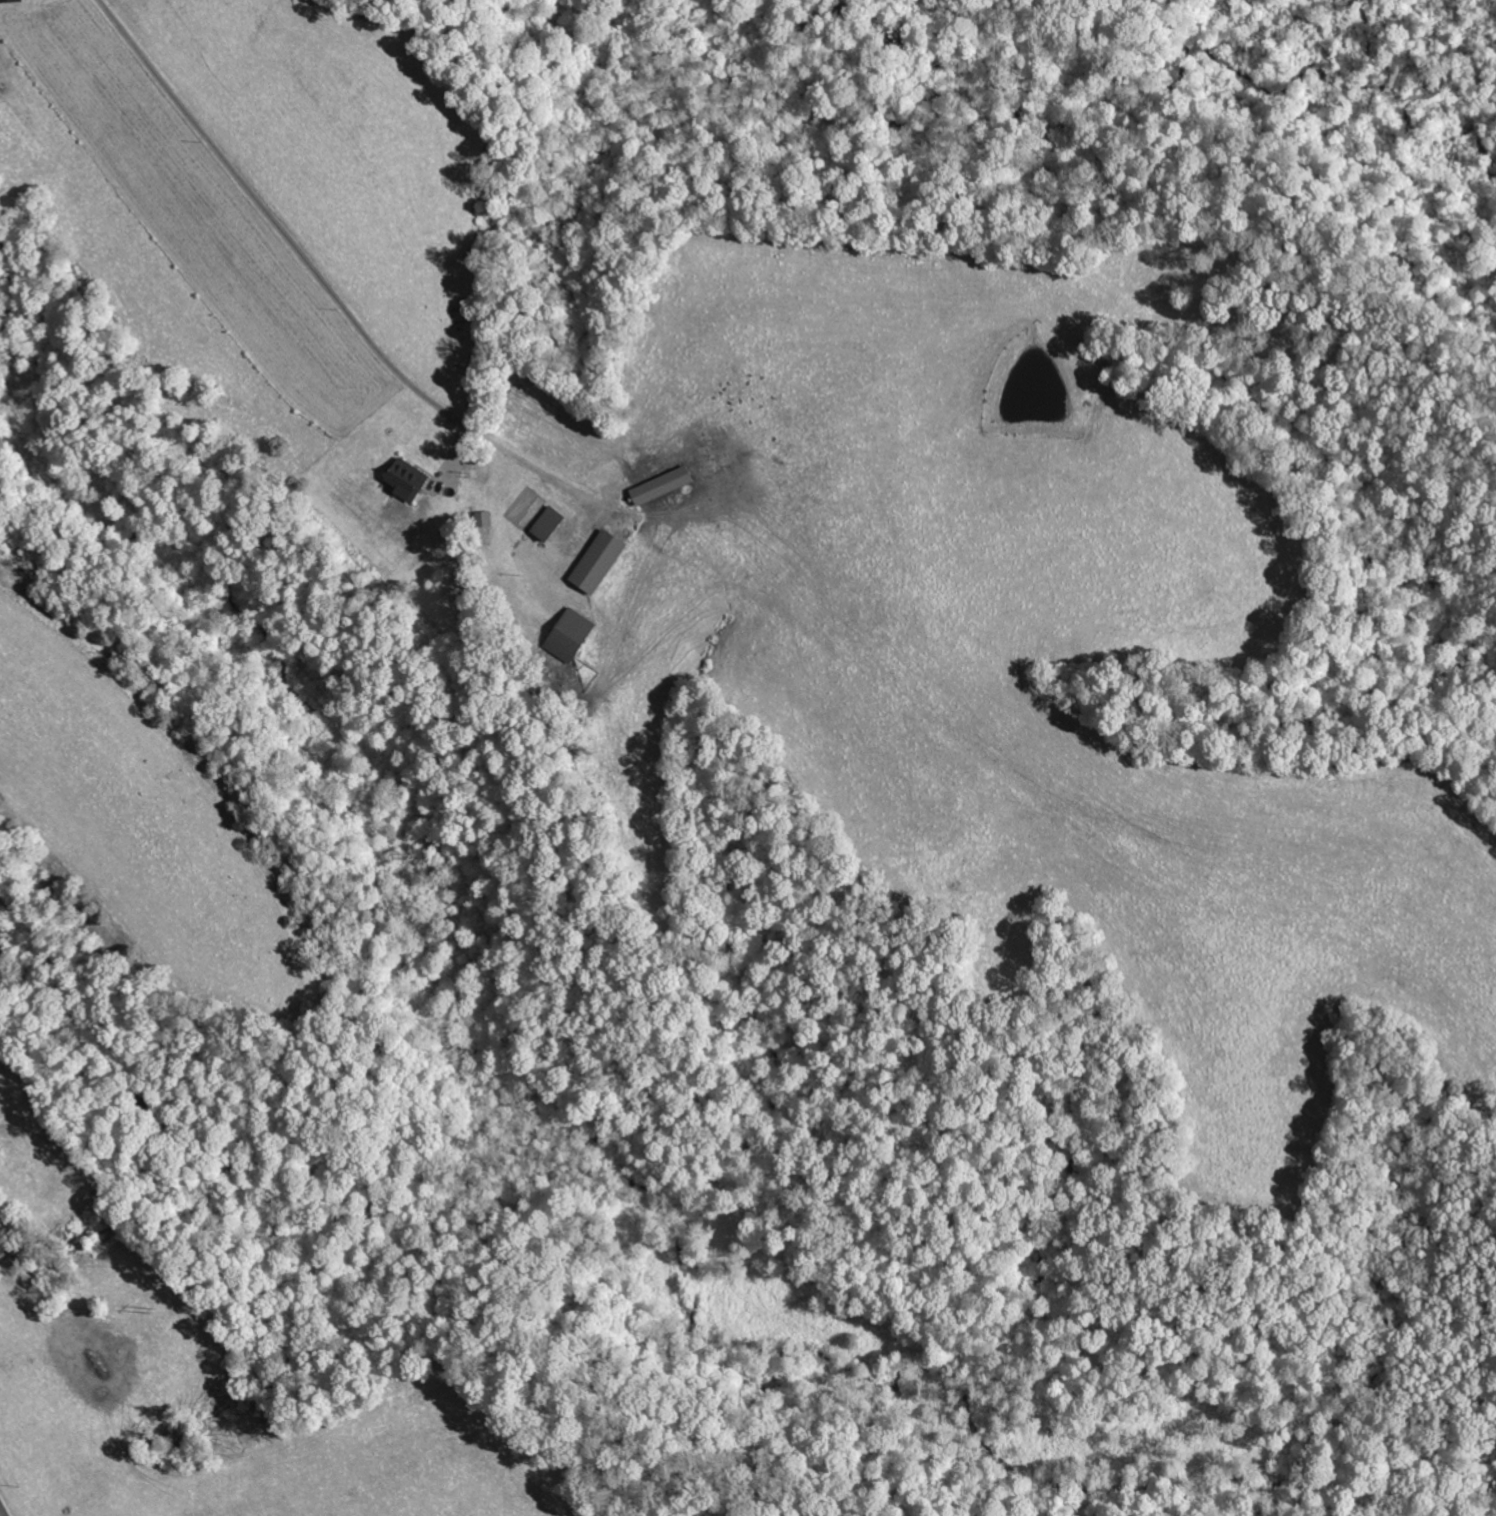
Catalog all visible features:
building: (10, 0)
building: (409, 478)
building: (663, 485)
building: (550, 523)
building: (600, 561)
road: (1, 1513)

